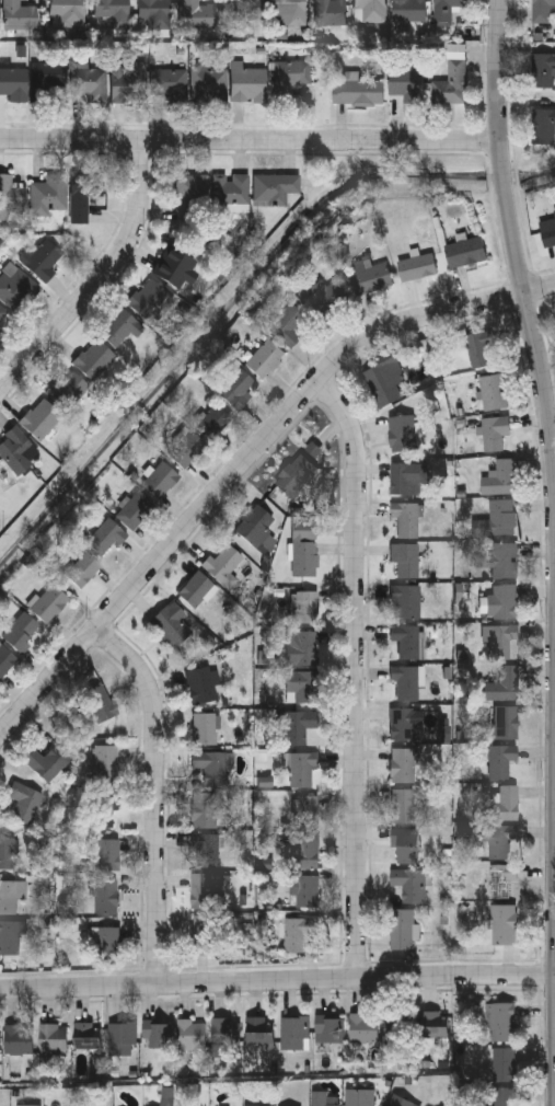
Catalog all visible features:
building: (112, 10)
building: (446, 10)
building: (69, 11)
building: (369, 11)
building: (408, 11)
building: (542, 11)
building: (242, 12)
building: (287, 12)
building: (329, 12)
building: (153, 13)
building: (197, 14)
building: (19, 16)
building: (541, 69)
building: (49, 74)
building: (290, 78)
building: (451, 80)
building: (208, 81)
building: (91, 82)
building: (125, 82)
building: (247, 82)
building: (14, 83)
building: (171, 83)
building: (406, 83)
building: (357, 93)
building: (542, 126)
road: (248, 139)
building: (274, 186)
building: (84, 189)
building: (231, 189)
building: (11, 192)
building: (50, 192)
building: (192, 195)
building: (554, 212)
building: (547, 237)
building: (466, 251)
road: (514, 253)
building: (43, 256)
building: (172, 263)
building: (417, 266)
road: (101, 275)
building: (370, 275)
building: (18, 286)
building: (326, 295)
building: (149, 297)
building: (287, 324)
building: (120, 325)
building: (479, 346)
building: (265, 356)
building: (94, 357)
building: (384, 378)
building: (67, 387)
building: (238, 387)
building: (493, 391)
building: (41, 416)
building: (213, 418)
building: (402, 431)
building: (495, 433)
building: (186, 447)
building: (19, 449)
road: (244, 461)
building: (296, 473)
building: (402, 476)
building: (499, 476)
building: (160, 477)
building: (135, 507)
building: (405, 517)
building: (499, 517)
building: (254, 521)
building: (106, 534)
building: (304, 546)
building: (405, 556)
building: (504, 558)
building: (224, 562)
building: (82, 567)
building: (199, 587)
building: (406, 599)
building: (502, 599)
building: (48, 601)
building: (307, 604)
building: (171, 624)
building: (20, 630)
building: (407, 637)
building: (504, 640)
building: (301, 646)
building: (5, 658)
road: (358, 673)
building: (405, 681)
building: (200, 682)
building: (504, 682)
building: (301, 683)
building: (100, 704)
building: (506, 719)
building: (404, 721)
building: (298, 724)
building: (205, 726)
building: (501, 758)
building: (47, 759)
building: (105, 761)
building: (403, 762)
building: (211, 763)
building: (301, 765)
road: (158, 794)
building: (24, 798)
building: (505, 800)
building: (403, 803)
building: (103, 806)
building: (205, 808)
building: (307, 809)
building: (498, 839)
building: (405, 843)
building: (304, 848)
building: (205, 849)
building: (8, 851)
building: (107, 852)
building: (501, 878)
building: (409, 882)
building: (203, 889)
building: (305, 890)
building: (105, 894)
building: (8, 895)
building: (504, 922)
building: (402, 928)
building: (298, 931)
building: (203, 933)
building: (11, 935)
building: (109, 941)
road: (277, 981)
building: (500, 1021)
building: (433, 1024)
building: (363, 1026)
building: (328, 1027)
building: (259, 1030)
building: (397, 1030)
building: (226, 1032)
building: (296, 1032)
building: (158, 1033)
building: (192, 1033)
building: (88, 1034)
building: (53, 1036)
building: (122, 1037)
building: (19, 1038)
building: (504, 1063)
building: (359, 1096)
building: (505, 1096)
building: (321, 1098)
building: (401, 1101)
building: (25, 1105)
building: (257, 1105)

